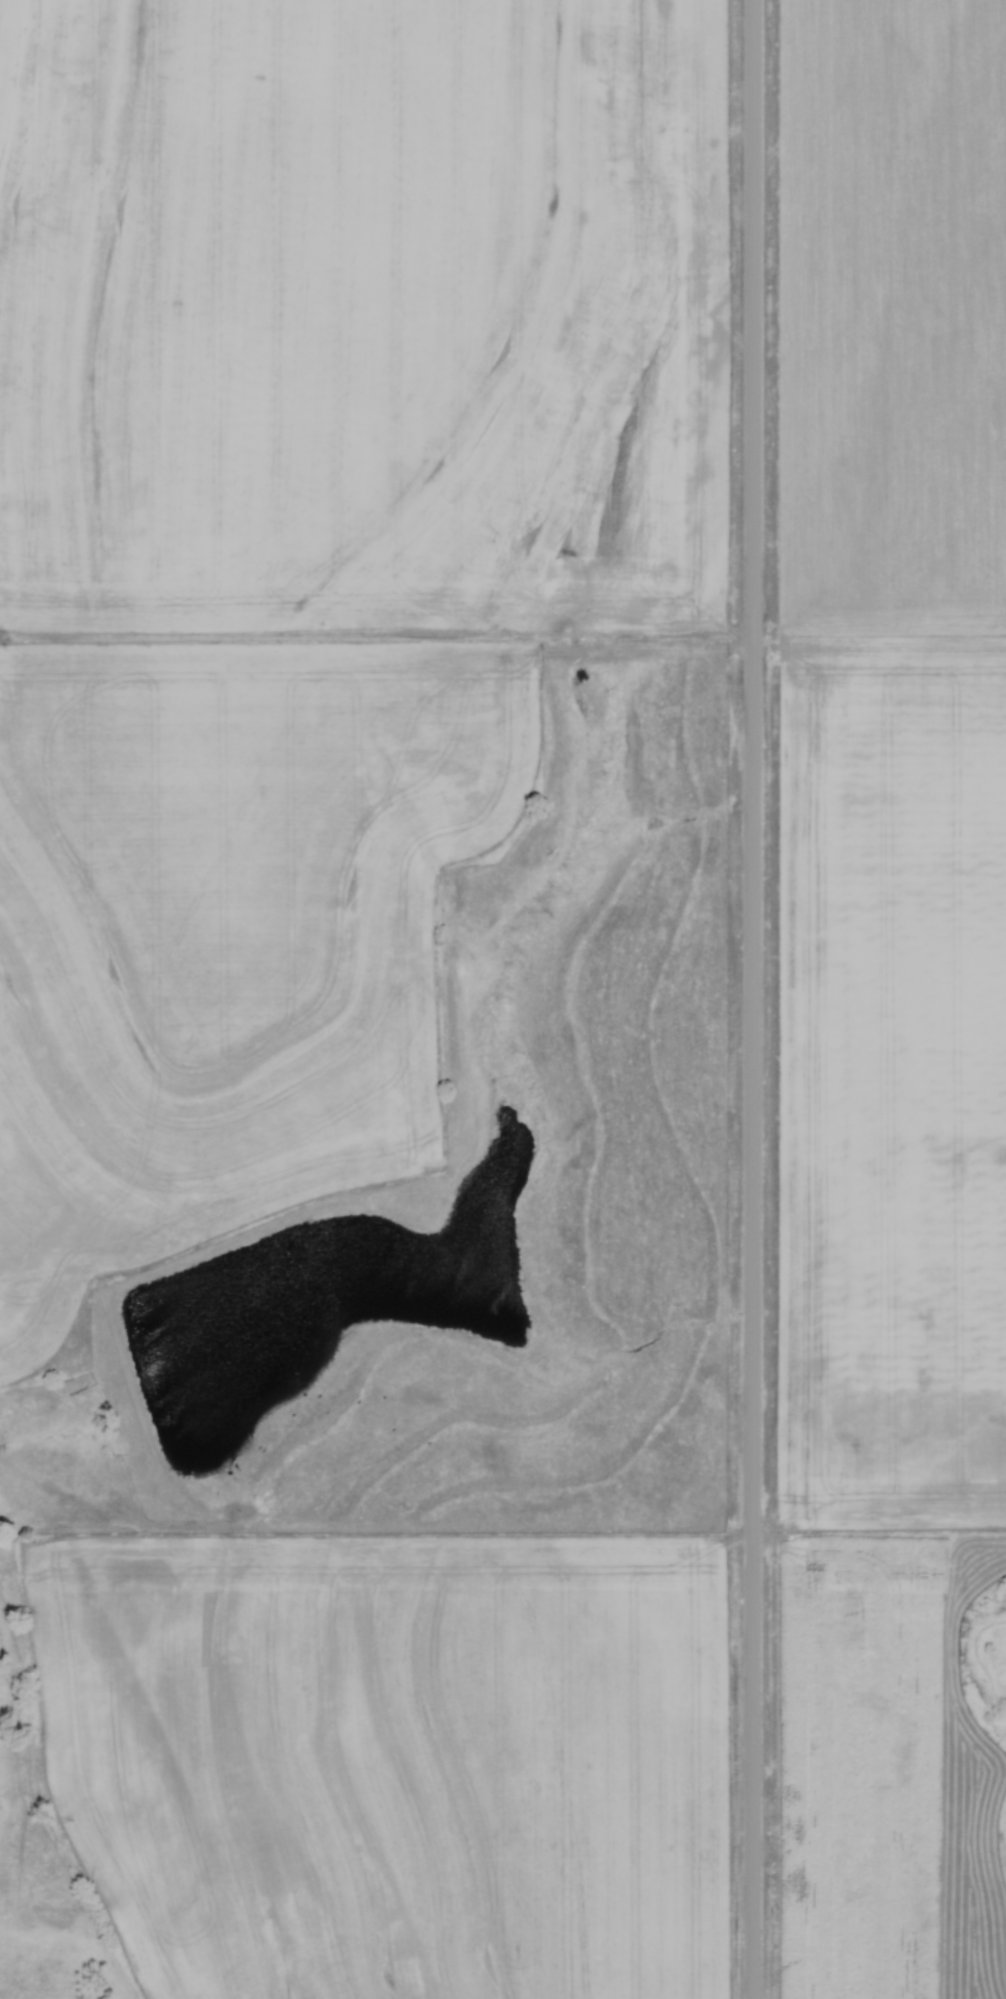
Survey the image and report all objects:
road: (750, 999)

